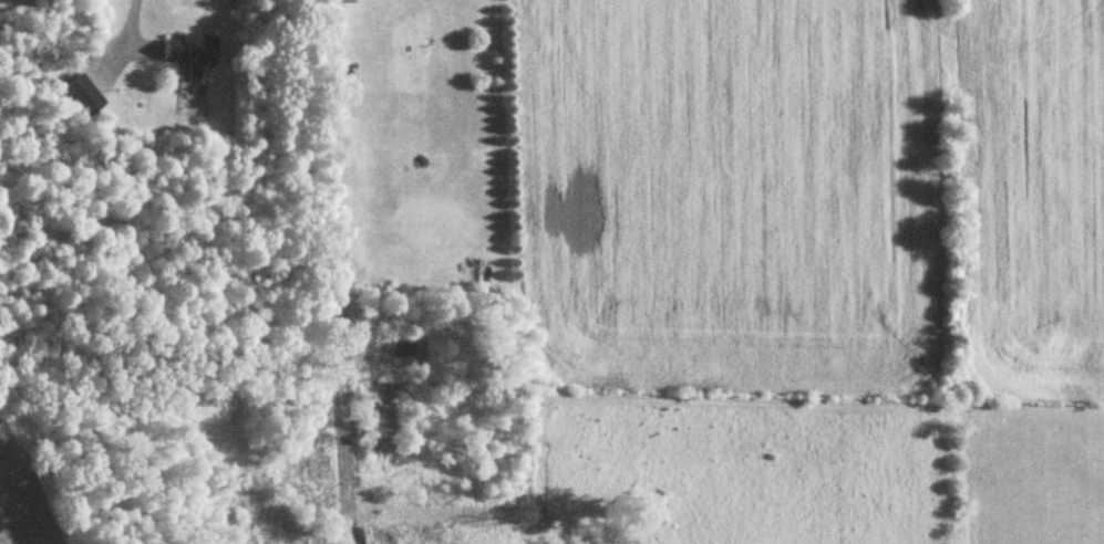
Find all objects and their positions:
road: (137, 11)
building: (193, 55)
building: (83, 97)

